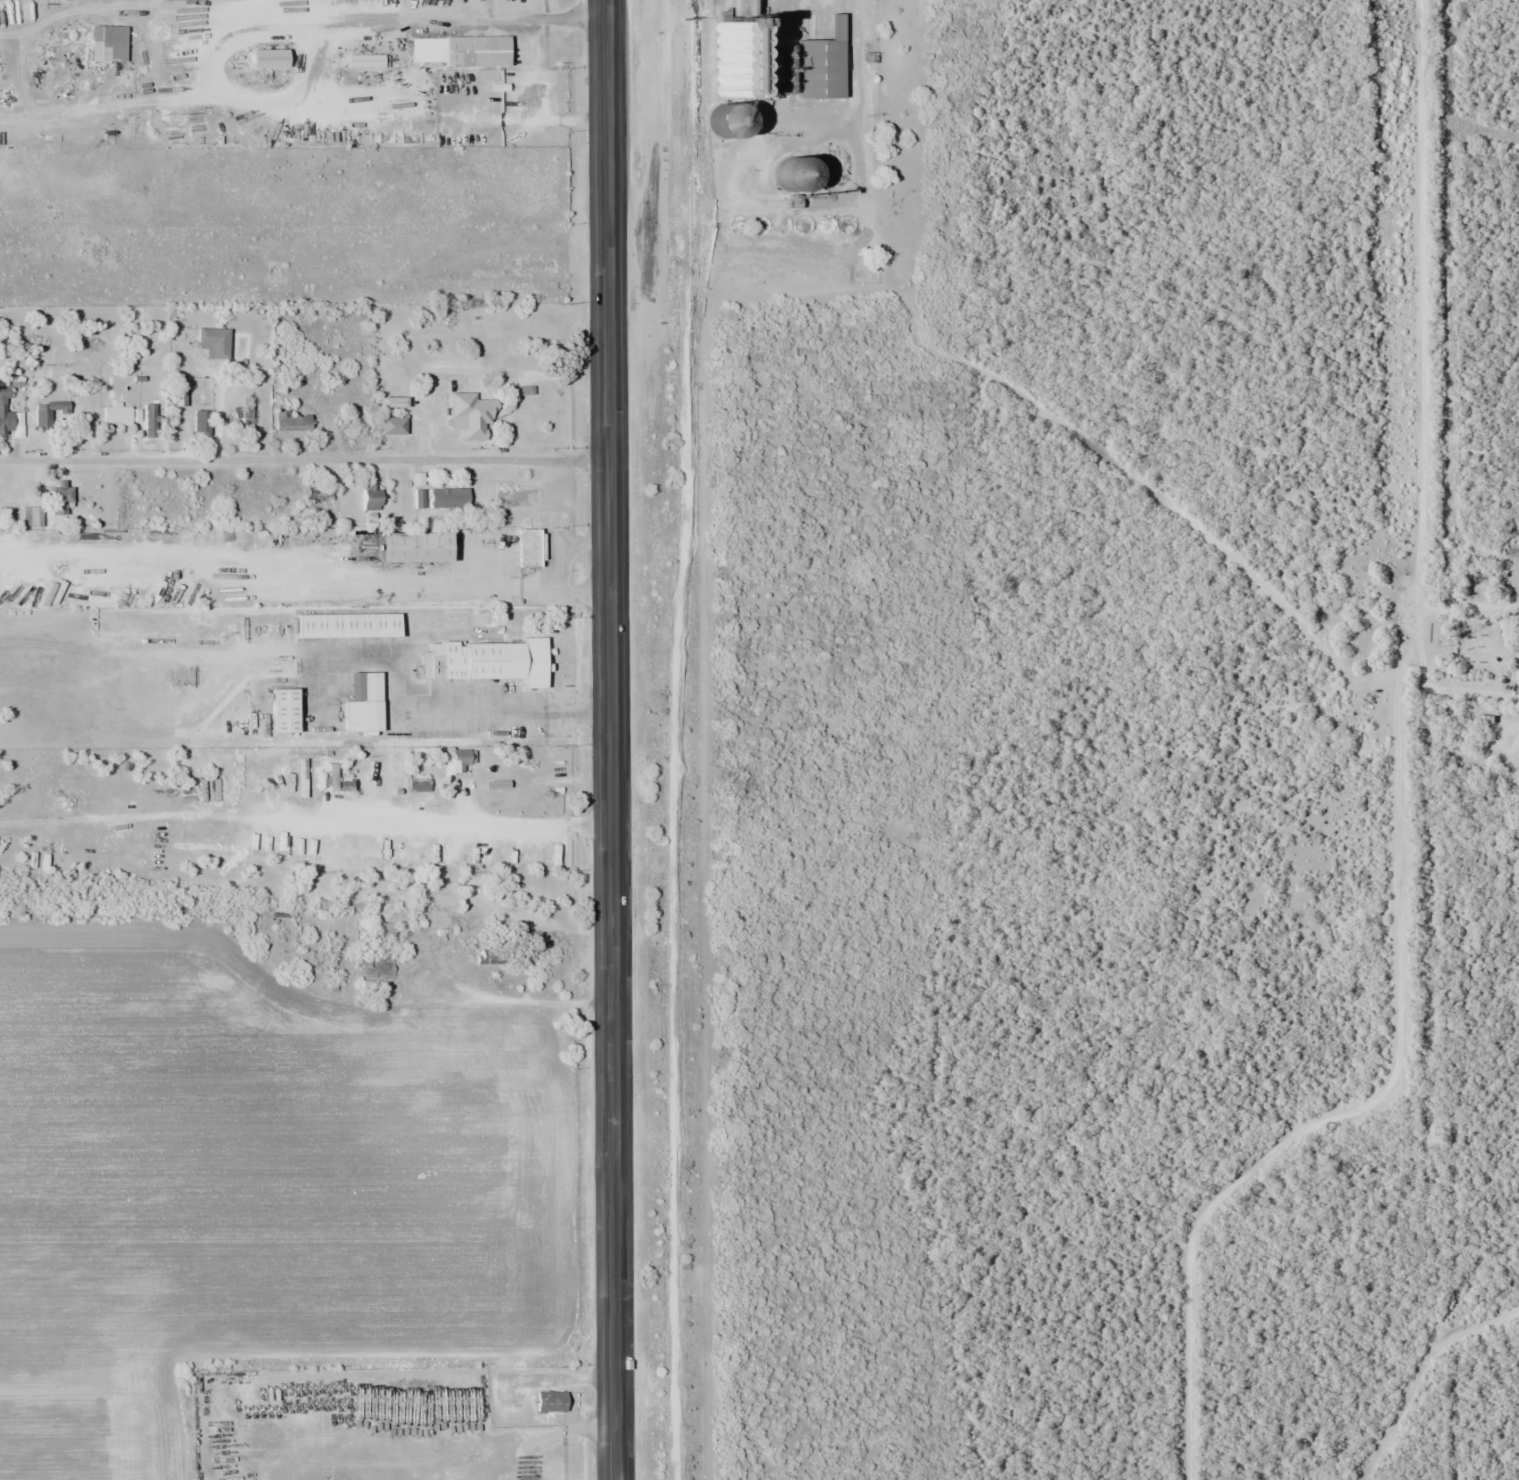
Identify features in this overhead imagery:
building: (749, 7)
building: (474, 50)
building: (720, 54)
building: (266, 58)
building: (363, 60)
building: (818, 66)
building: (764, 68)
building: (722, 126)
building: (789, 173)
road: (606, 174)
building: (212, 342)
building: (84, 405)
building: (5, 411)
building: (48, 412)
building: (116, 414)
building: (470, 414)
building: (241, 416)
building: (150, 421)
building: (200, 421)
building: (291, 421)
building: (391, 425)
road: (304, 460)
building: (416, 478)
building: (369, 497)
building: (447, 497)
building: (418, 498)
building: (59, 499)
building: (411, 546)
building: (528, 547)
building: (346, 624)
building: (485, 661)
road: (1472, 687)
road: (412, 698)
building: (363, 706)
building: (282, 710)
railway: (667, 740)
building: (458, 758)
road: (1426, 795)
road: (611, 913)
building: (382, 934)
building: (488, 956)
road: (426, 1008)
building: (549, 1401)

